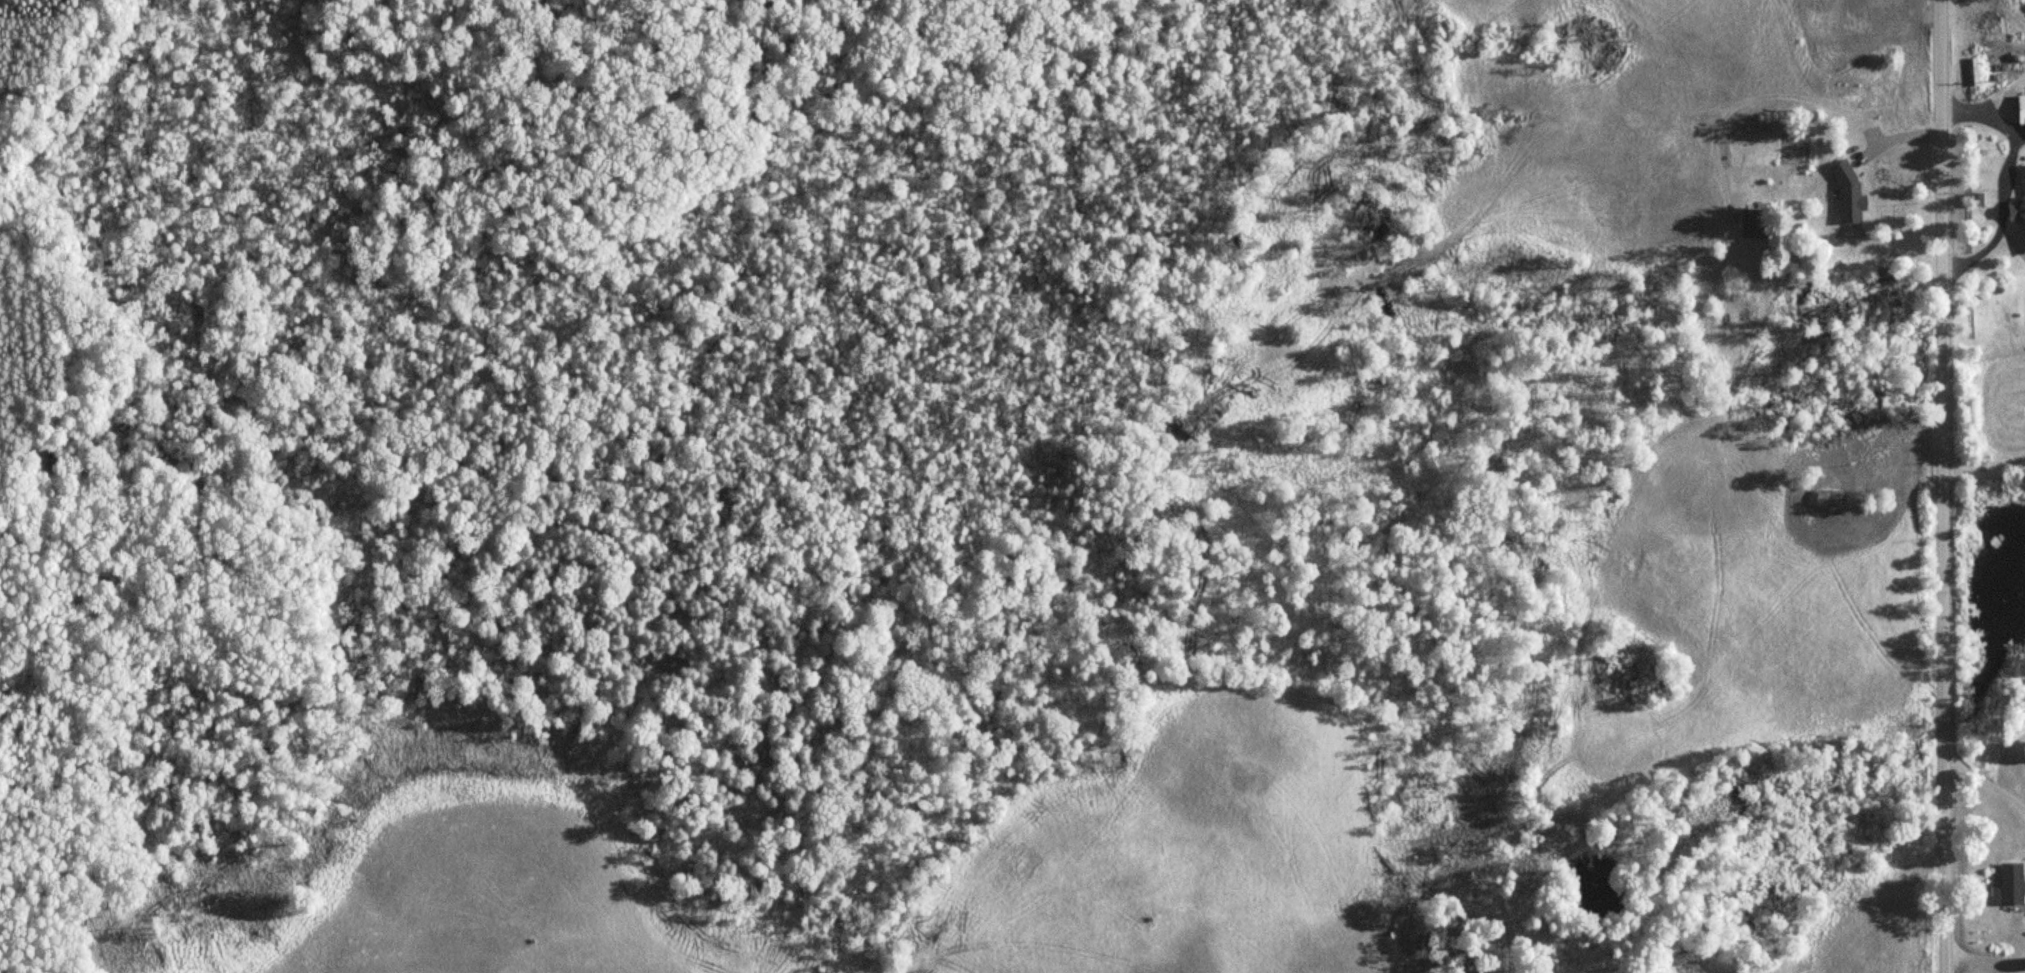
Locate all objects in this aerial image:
building: (2022, 108)
building: (1849, 191)
building: (2021, 205)
building: (1754, 222)
road: (1937, 486)
building: (1827, 497)
building: (2013, 886)

